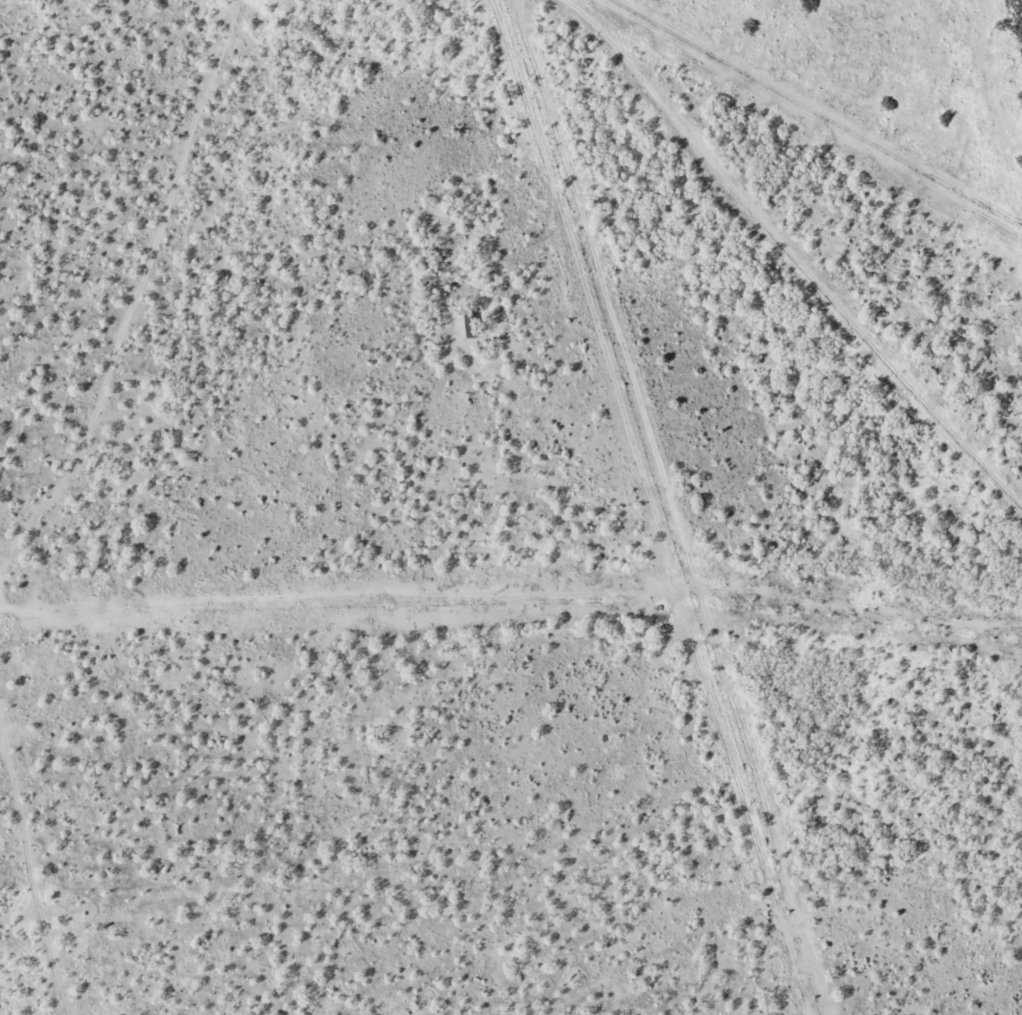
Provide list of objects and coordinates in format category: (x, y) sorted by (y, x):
road: (846, 644)

